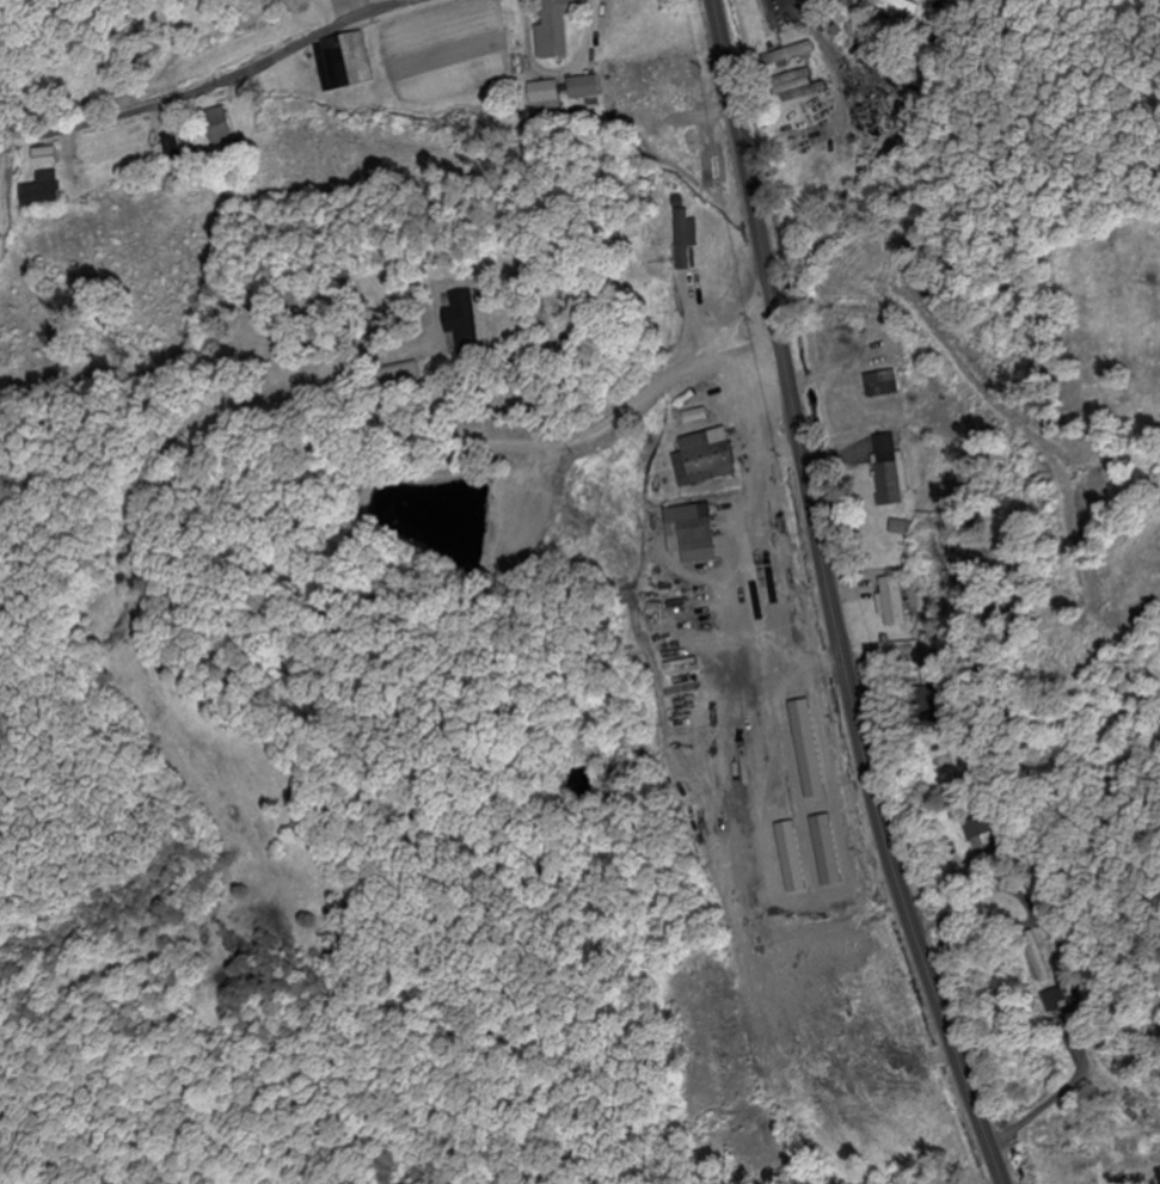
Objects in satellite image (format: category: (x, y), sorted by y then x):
building: (553, 30)
building: (788, 56)
building: (343, 63)
building: (657, 82)
road: (215, 85)
building: (584, 88)
building: (796, 88)
building: (545, 98)
building: (217, 128)
building: (45, 158)
building: (42, 195)
building: (460, 343)
building: (397, 374)
building: (878, 386)
road: (490, 405)
building: (704, 460)
building: (693, 542)
road: (828, 599)
building: (889, 605)
building: (682, 669)
building: (917, 706)
building: (978, 836)
building: (1033, 959)
building: (1052, 1002)

